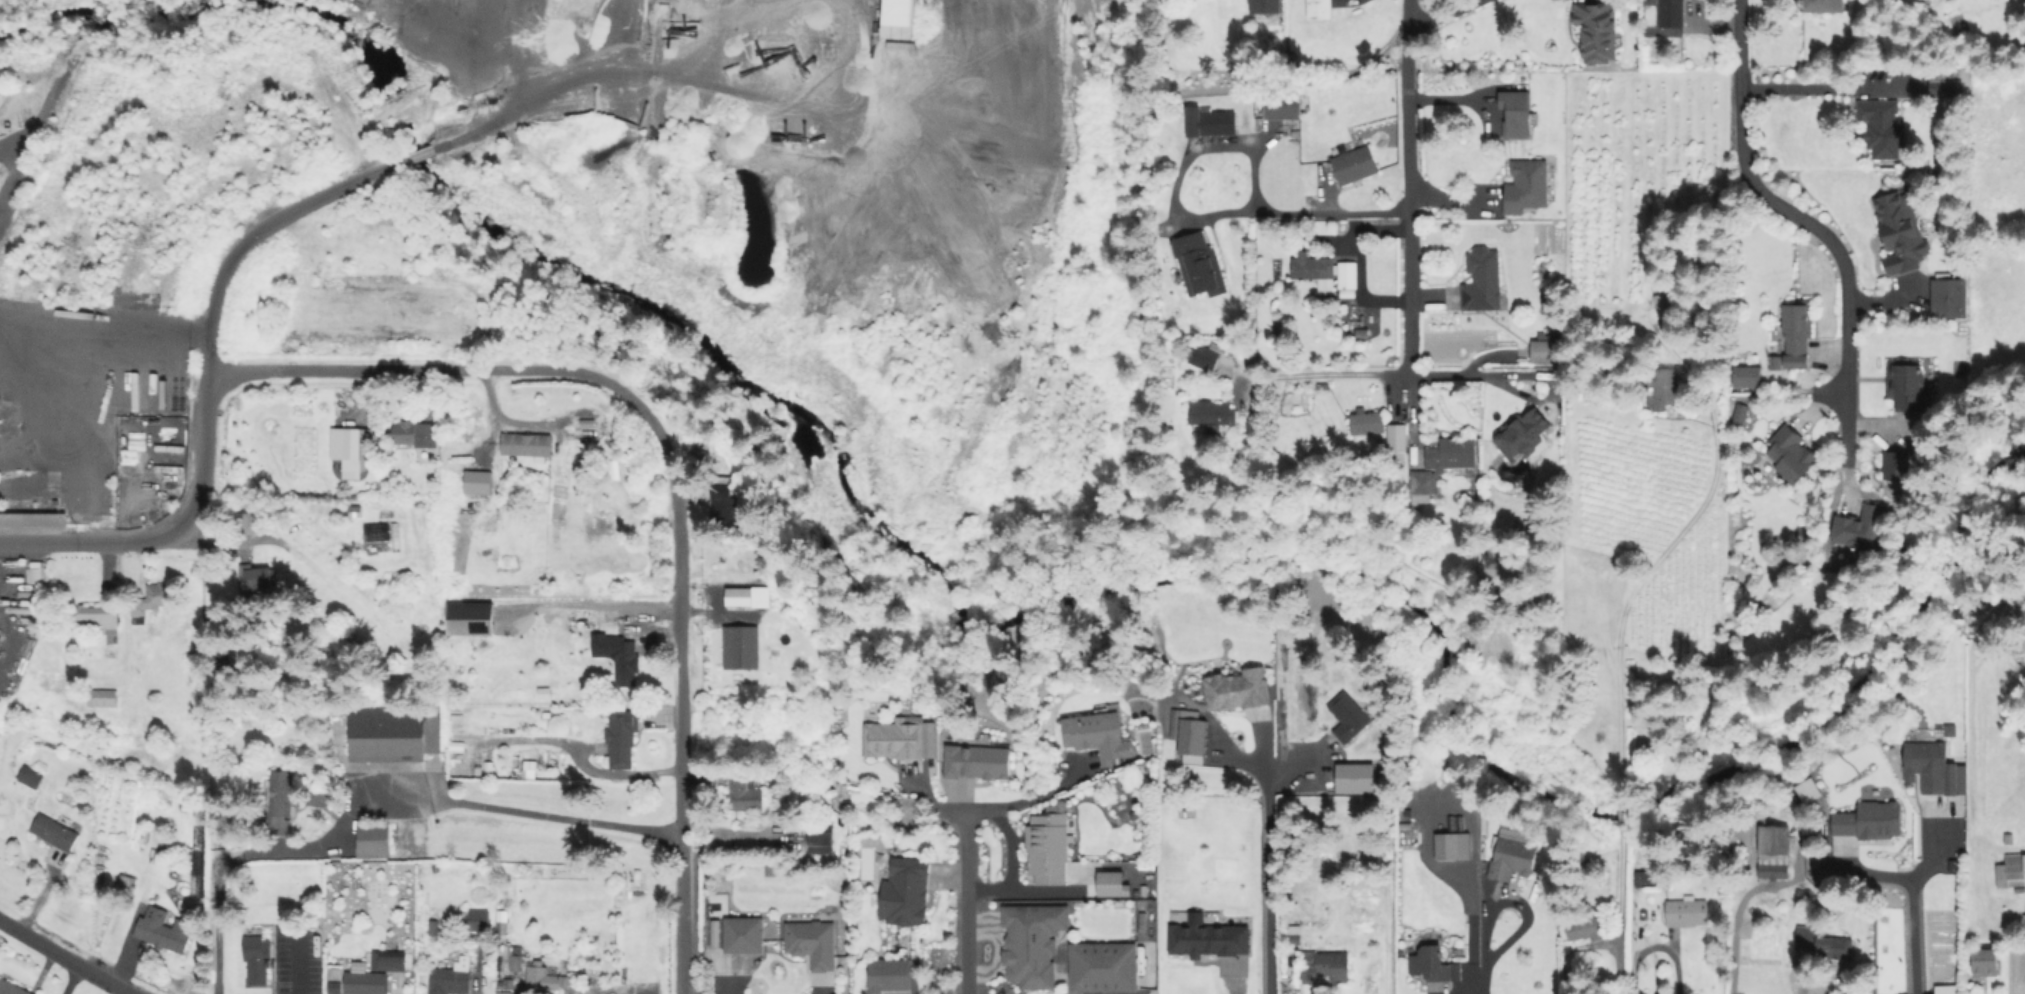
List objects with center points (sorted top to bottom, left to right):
building: (1265, 6)
building: (1824, 6)
building: (1321, 9)
road: (1441, 14)
building: (1671, 14)
building: (899, 18)
building: (1597, 33)
building: (1939, 87)
road: (1814, 88)
building: (1283, 107)
building: (1514, 113)
building: (1219, 124)
building: (1882, 130)
road: (1243, 145)
building: (1524, 154)
building: (1355, 165)
road: (1407, 187)
building: (1513, 202)
road: (1811, 220)
building: (1903, 237)
building: (1199, 266)
road: (225, 268)
building: (1313, 269)
building: (1348, 276)
building: (1483, 283)
building: (1950, 299)
road: (37, 318)
road: (142, 330)
building: (1797, 335)
building: (1546, 352)
building: (1207, 359)
building: (1776, 364)
road: (442, 367)
road: (1346, 374)
road: (1470, 375)
building: (1745, 376)
building: (1905, 385)
building: (1660, 388)
building: (1212, 413)
building: (1741, 415)
road: (73, 419)
building: (1368, 421)
building: (416, 433)
building: (1523, 434)
building: (1398, 438)
building: (527, 442)
building: (358, 444)
building: (1452, 455)
building: (1791, 455)
building: (1896, 465)
building: (475, 481)
building: (1424, 486)
building: (722, 502)
building: (33, 518)
building: (245, 523)
building: (1861, 528)
building: (374, 531)
road: (227, 540)
building: (257, 578)
building: (755, 596)
building: (154, 600)
building: (94, 618)
building: (469, 618)
building: (586, 619)
building: (739, 646)
building: (775, 653)
building: (626, 658)
building: (1242, 689)
road: (1615, 691)
building: (102, 698)
road: (679, 704)
building: (1349, 717)
building: (1948, 729)
building: (396, 734)
building: (623, 737)
building: (1098, 737)
building: (1192, 738)
building: (896, 740)
building: (978, 761)
building: (1931, 769)
building: (1353, 777)
building: (32, 778)
building: (1806, 790)
road: (1047, 793)
building: (746, 796)
road: (434, 798)
building: (190, 801)
building: (281, 802)
road: (981, 812)
building: (1871, 821)
building: (56, 833)
building: (156, 837)
building: (374, 839)
building: (822, 840)
road: (1011, 846)
building: (1448, 847)
building: (1050, 848)
building: (1773, 852)
building: (1512, 858)
building: (2012, 872)
road: (1867, 874)
road: (1270, 877)
building: (1651, 878)
building: (126, 883)
building: (1109, 883)
road: (1029, 888)
building: (906, 894)
building: (306, 903)
road: (1513, 903)
road: (970, 904)
road: (214, 909)
road: (1912, 911)
building: (1685, 915)
building: (477, 921)
building: (434, 928)
building: (1582, 928)
building: (504, 929)
building: (165, 931)
road: (1729, 934)
building: (1296, 936)
building: (744, 937)
building: (1210, 939)
building: (1823, 940)
building: (1030, 942)
building: (814, 944)
road: (1655, 946)
road: (65, 957)
building: (390, 960)
building: (510, 960)
building: (258, 961)
road: (297, 961)
building: (1988, 964)
building: (1434, 965)
building: (1101, 966)
building: (1325, 968)
building: (890, 976)
road: (1484, 976)
building: (454, 978)
building: (541, 978)
building: (570, 981)
building: (366, 983)
building: (503, 983)
building: (332, 986)
building: (11, 988)
building: (1973, 992)

